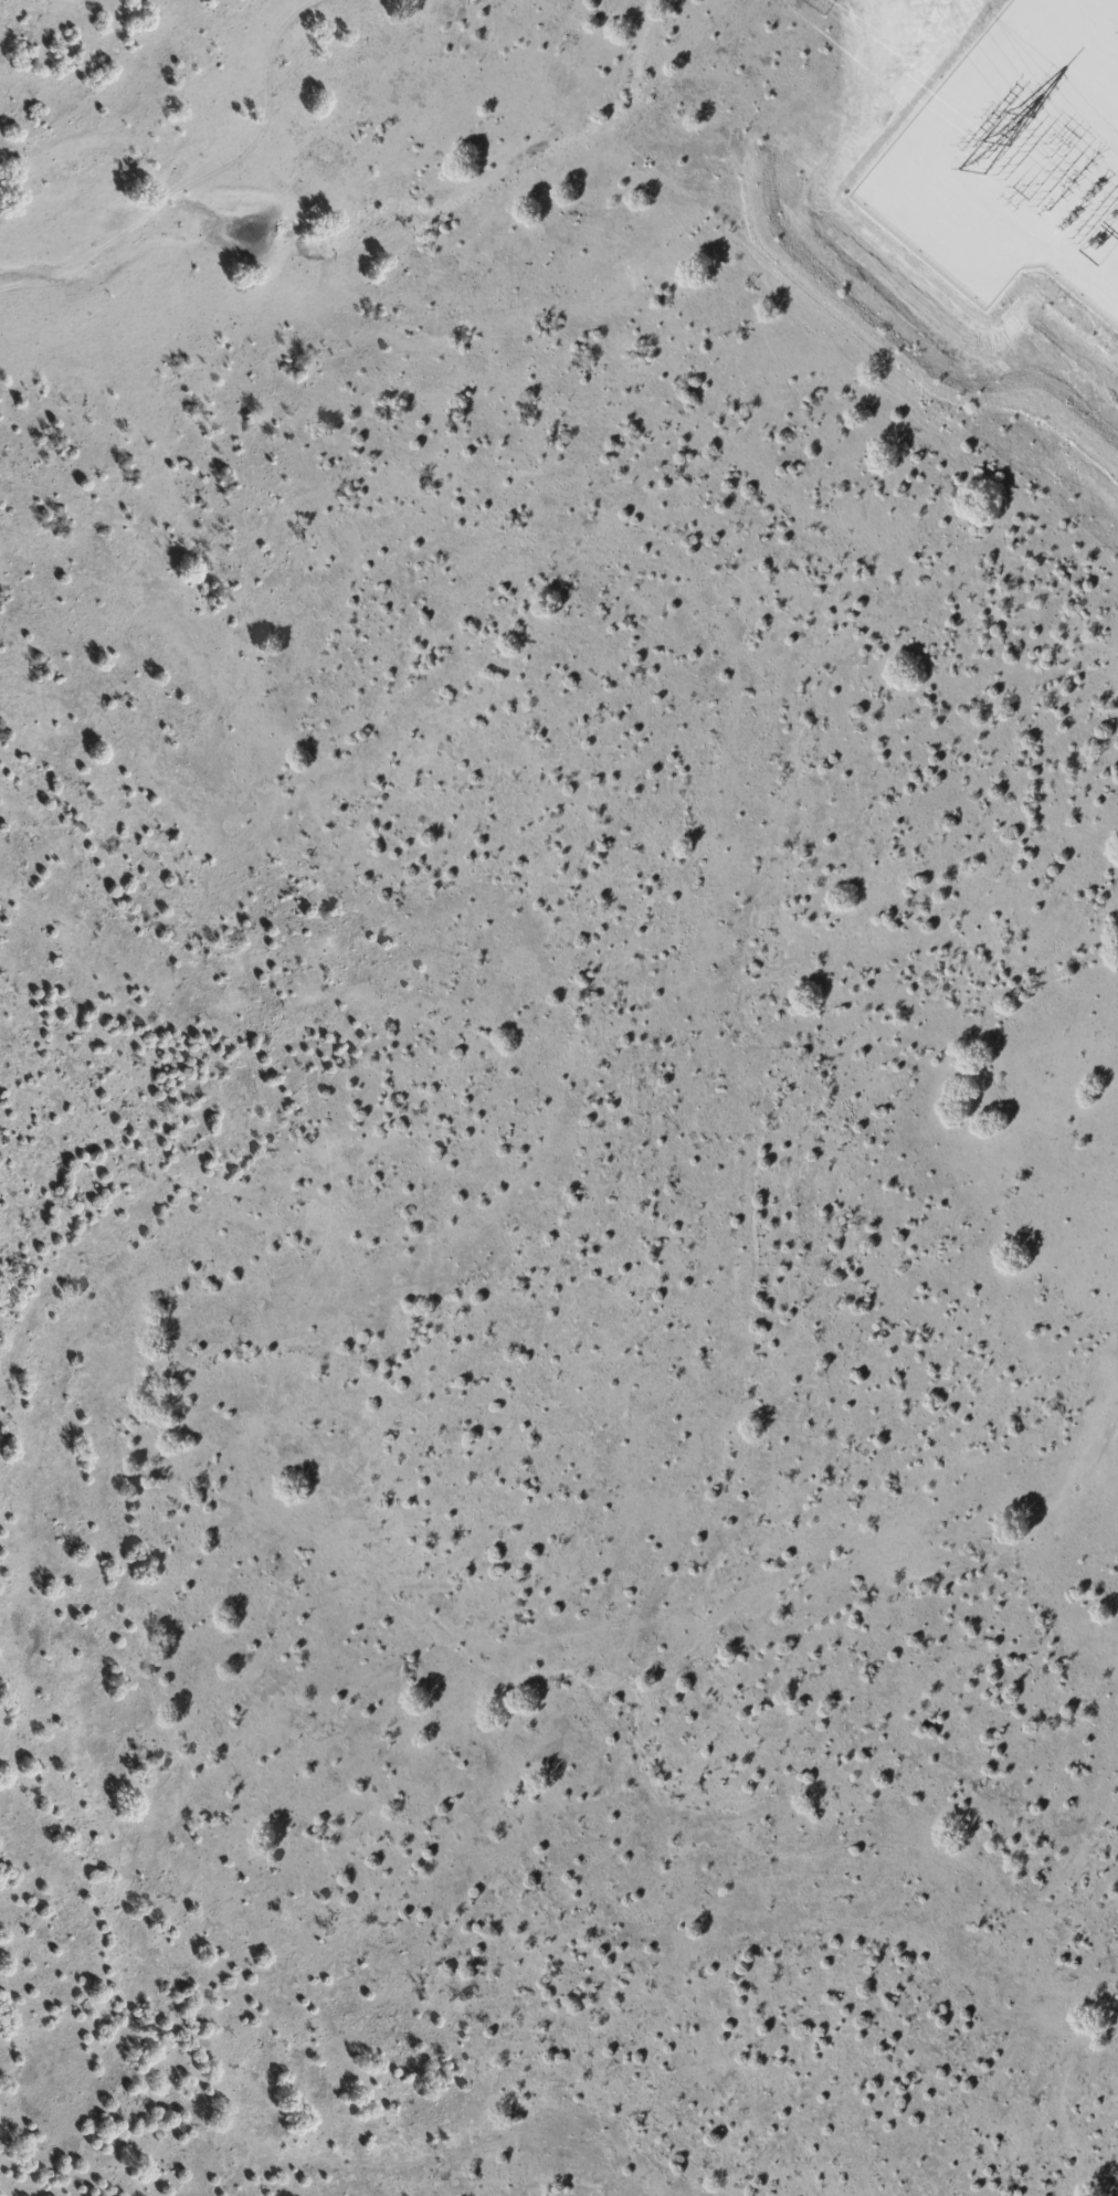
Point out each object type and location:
power tower: (1005, 119)
power tower: (980, 149)
power substation: (1015, 156)

